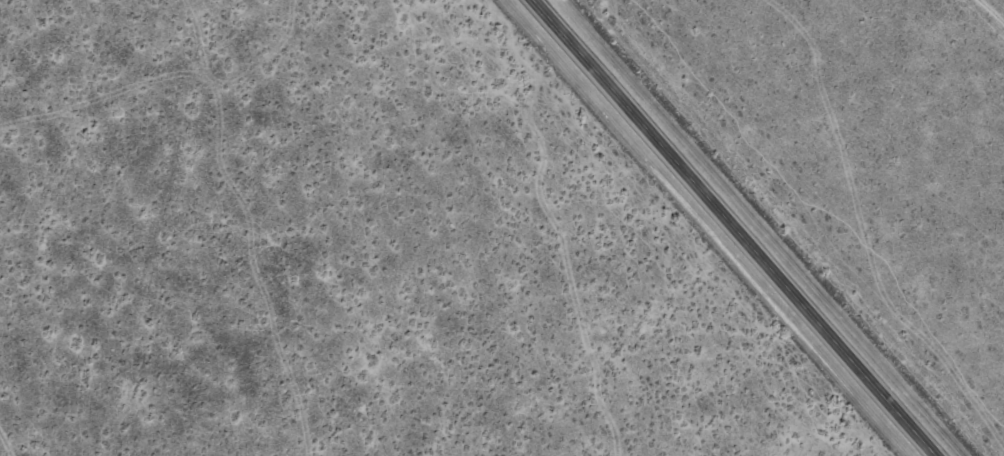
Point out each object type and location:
road: (734, 228)

